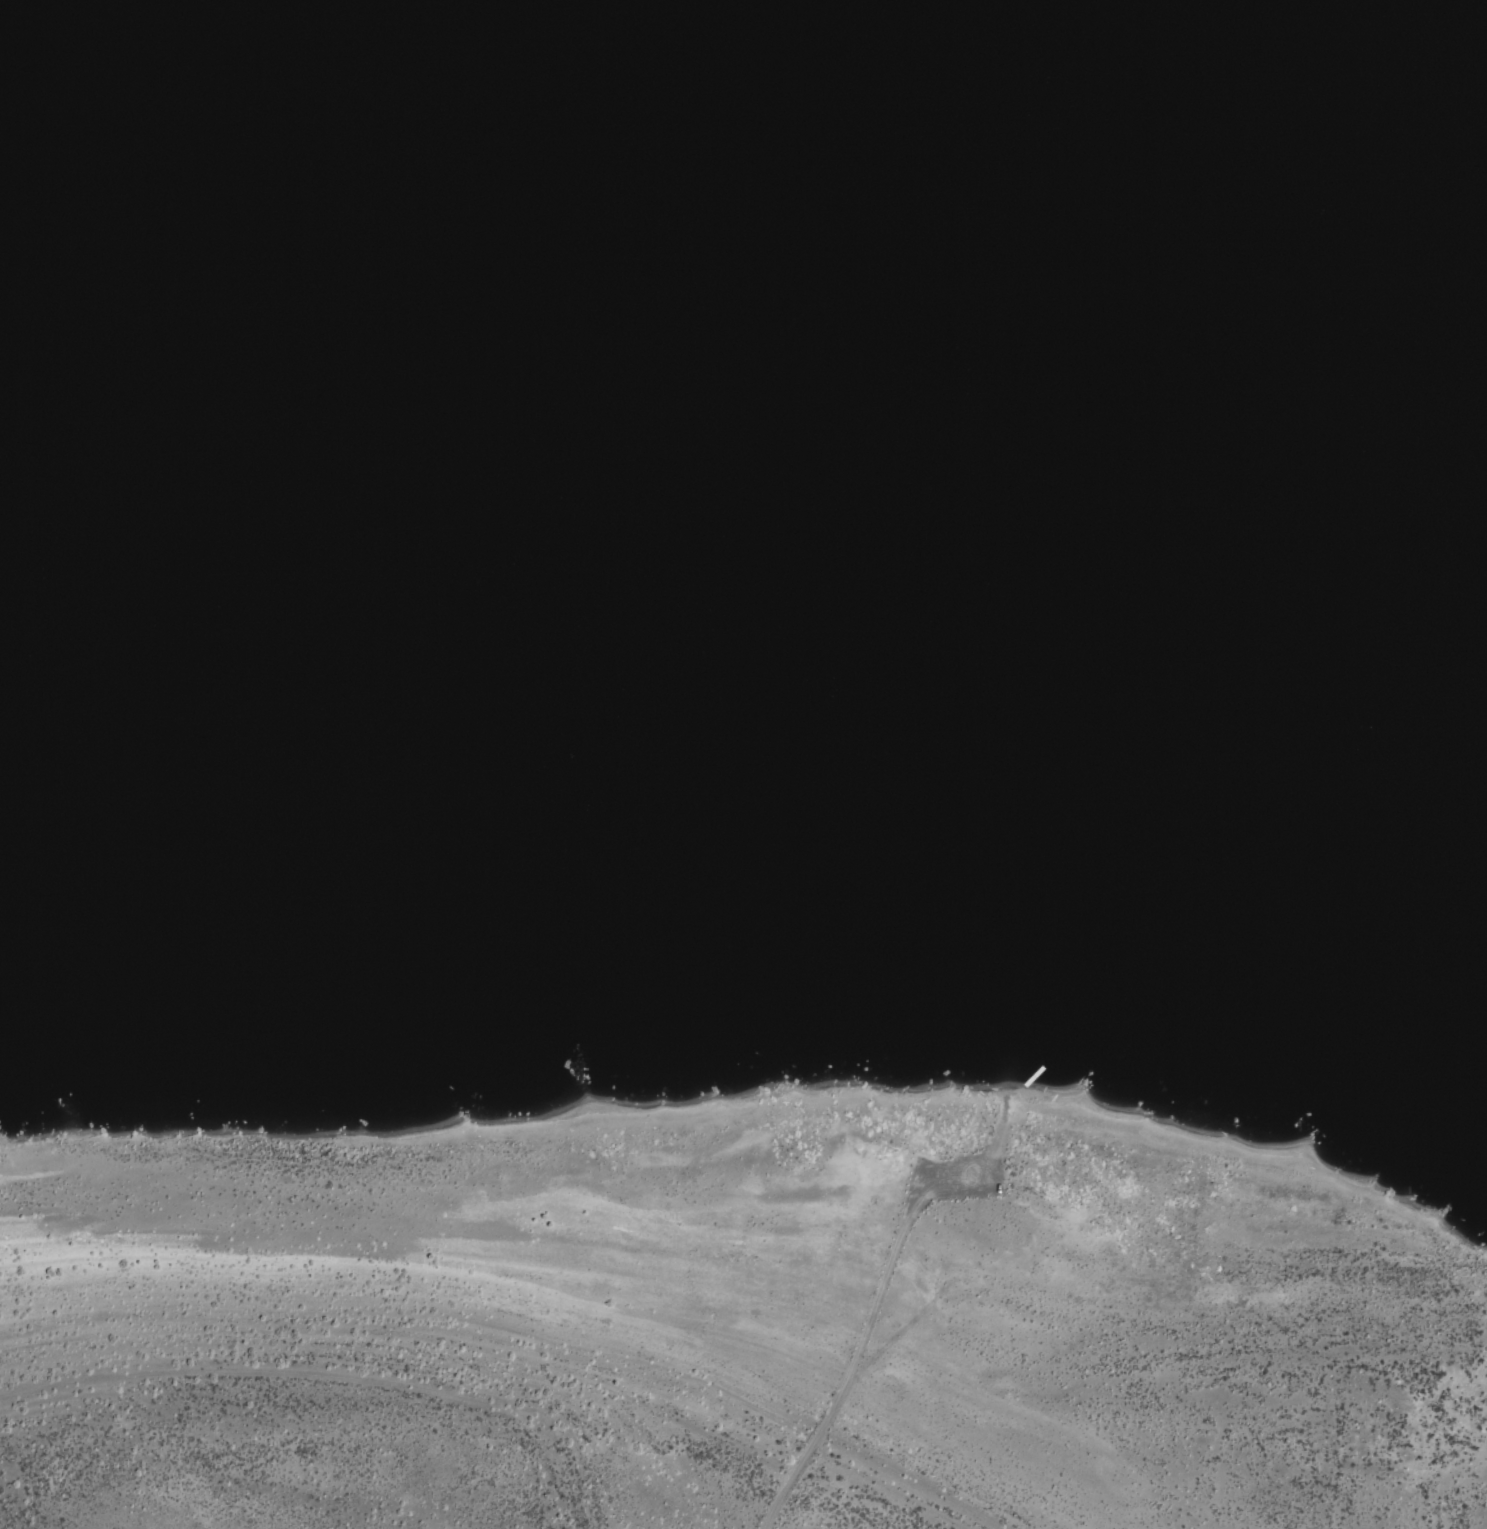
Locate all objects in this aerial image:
road: (861, 1333)

